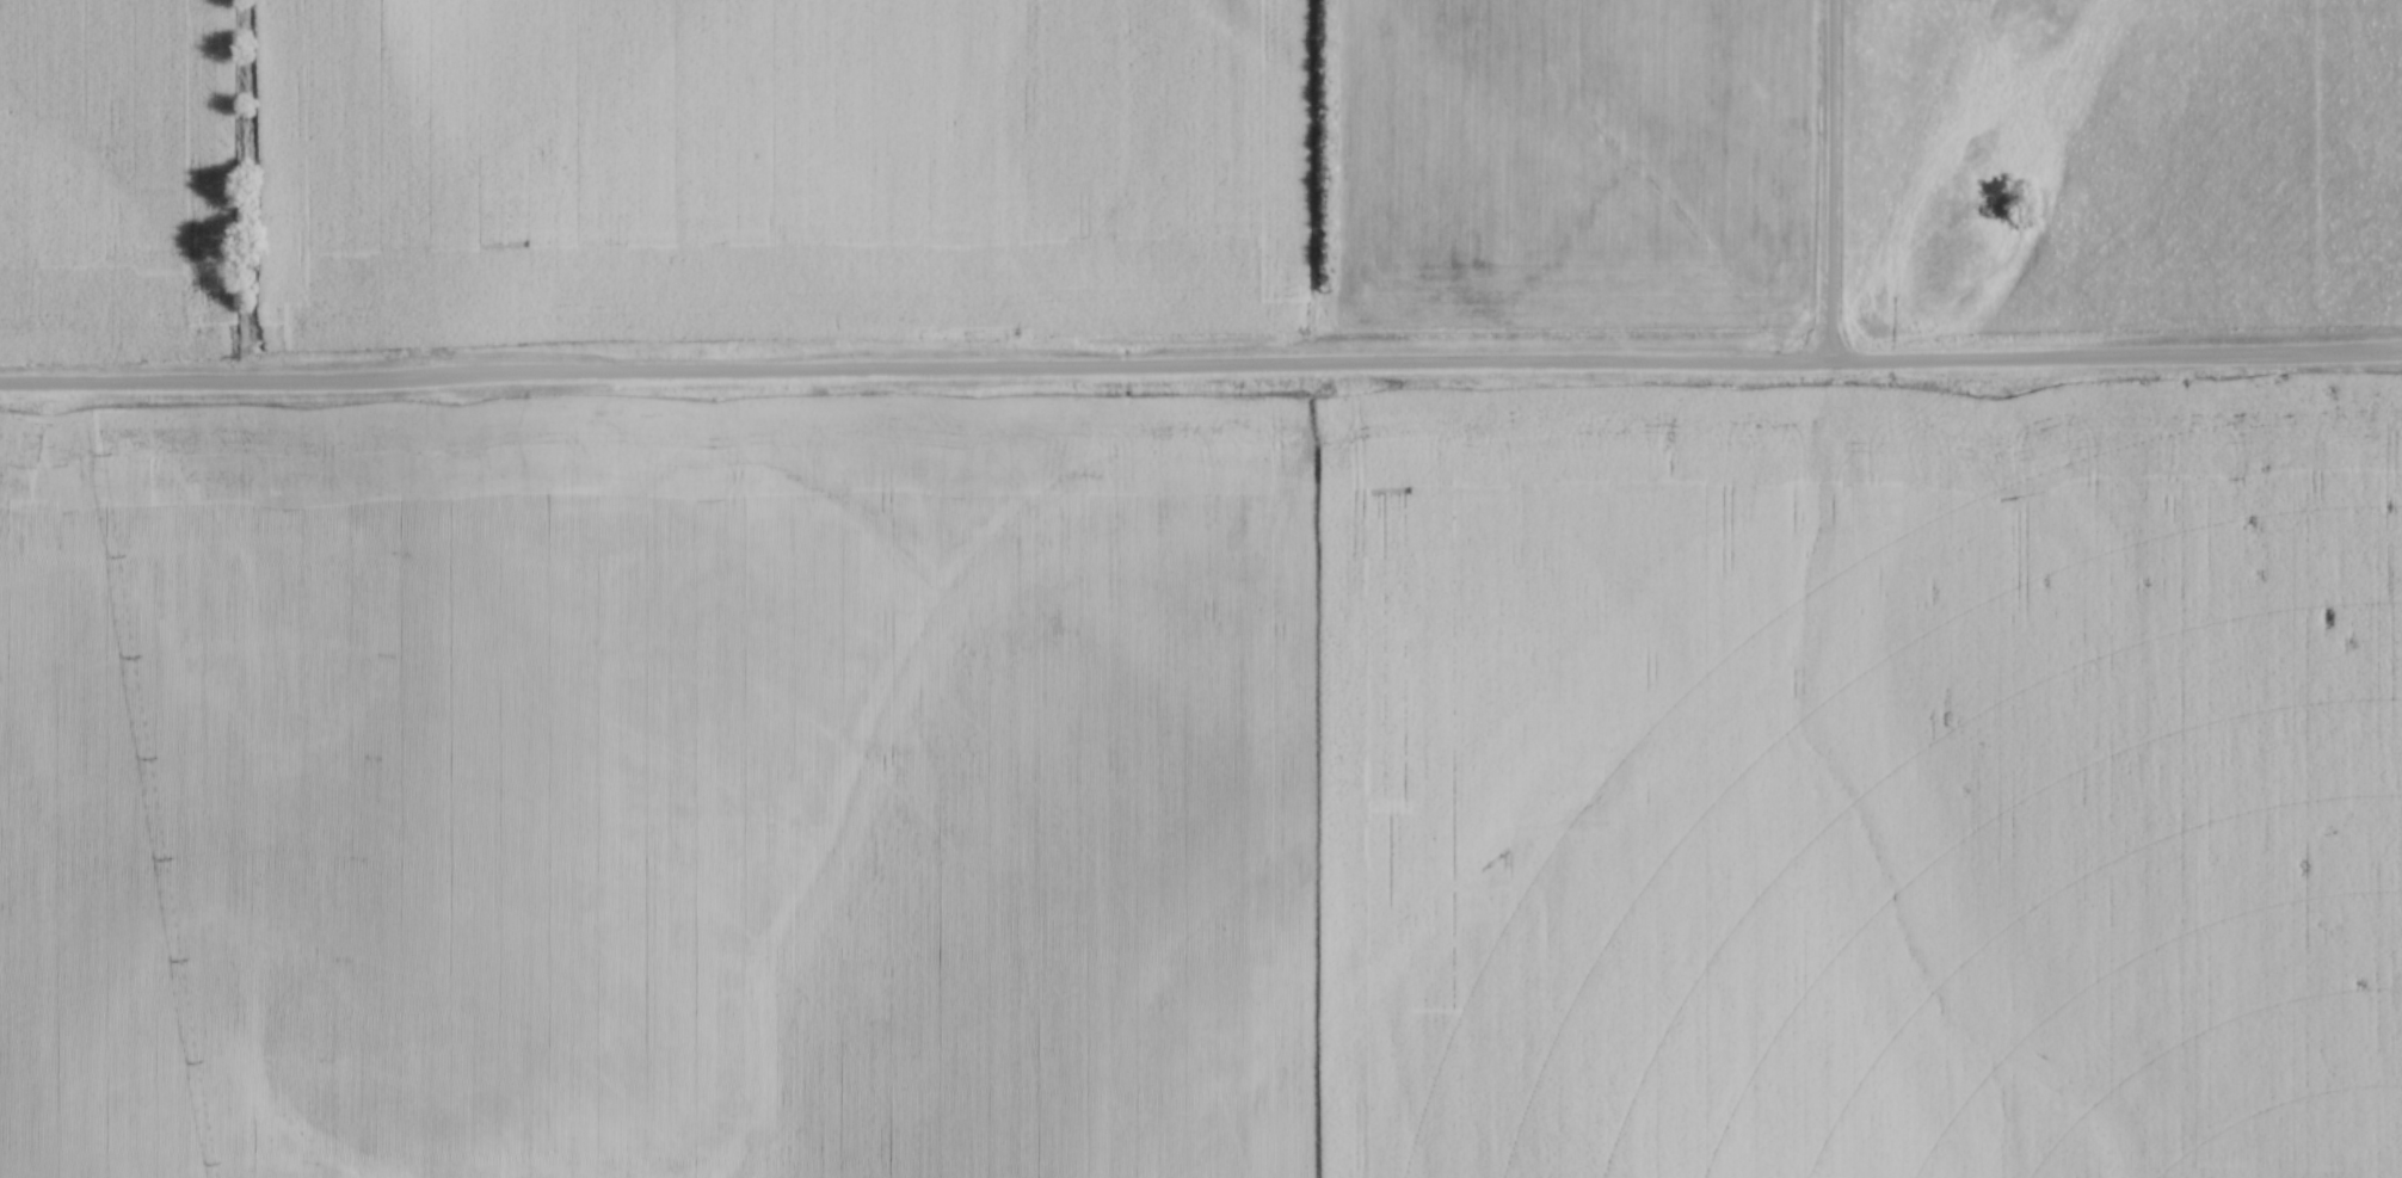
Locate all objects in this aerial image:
road: (1829, 185)
road: (1201, 376)
building: (1731, 482)

